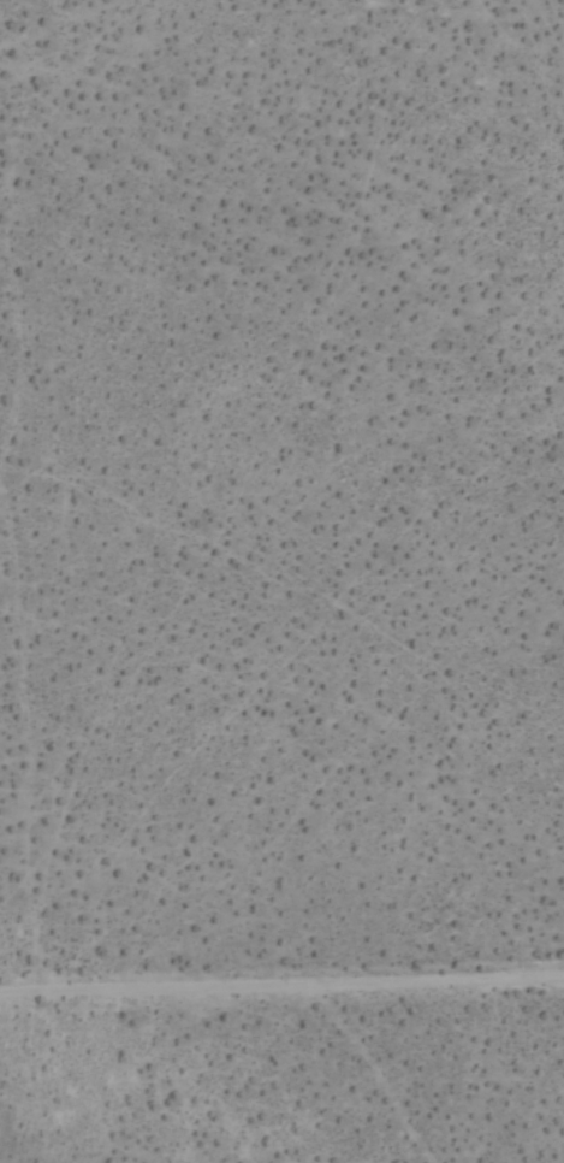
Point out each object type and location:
road: (281, 985)

